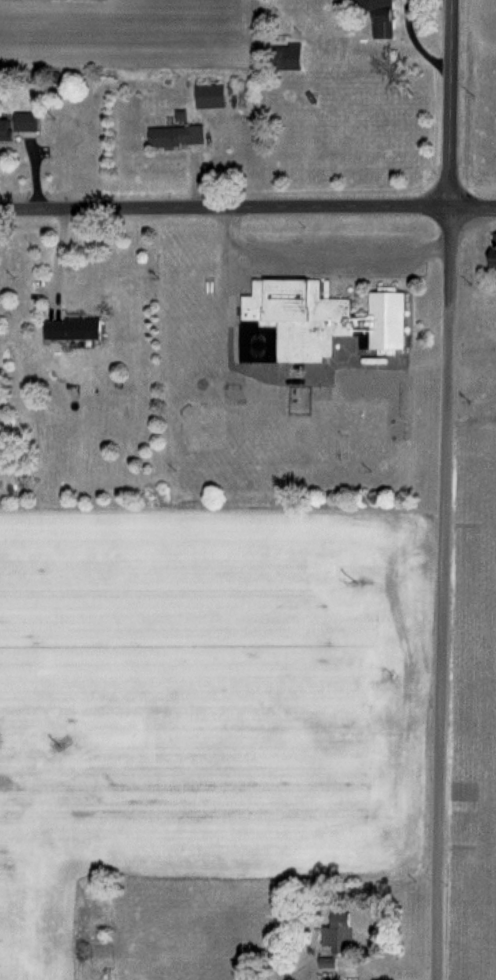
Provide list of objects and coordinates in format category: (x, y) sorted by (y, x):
building: (384, 17)
road: (418, 42)
building: (292, 55)
building: (212, 94)
building: (20, 124)
building: (179, 134)
road: (451, 154)
road: (248, 208)
road: (323, 244)
building: (495, 253)
building: (319, 318)
building: (75, 327)
road: (257, 368)
road: (439, 644)
building: (340, 937)

